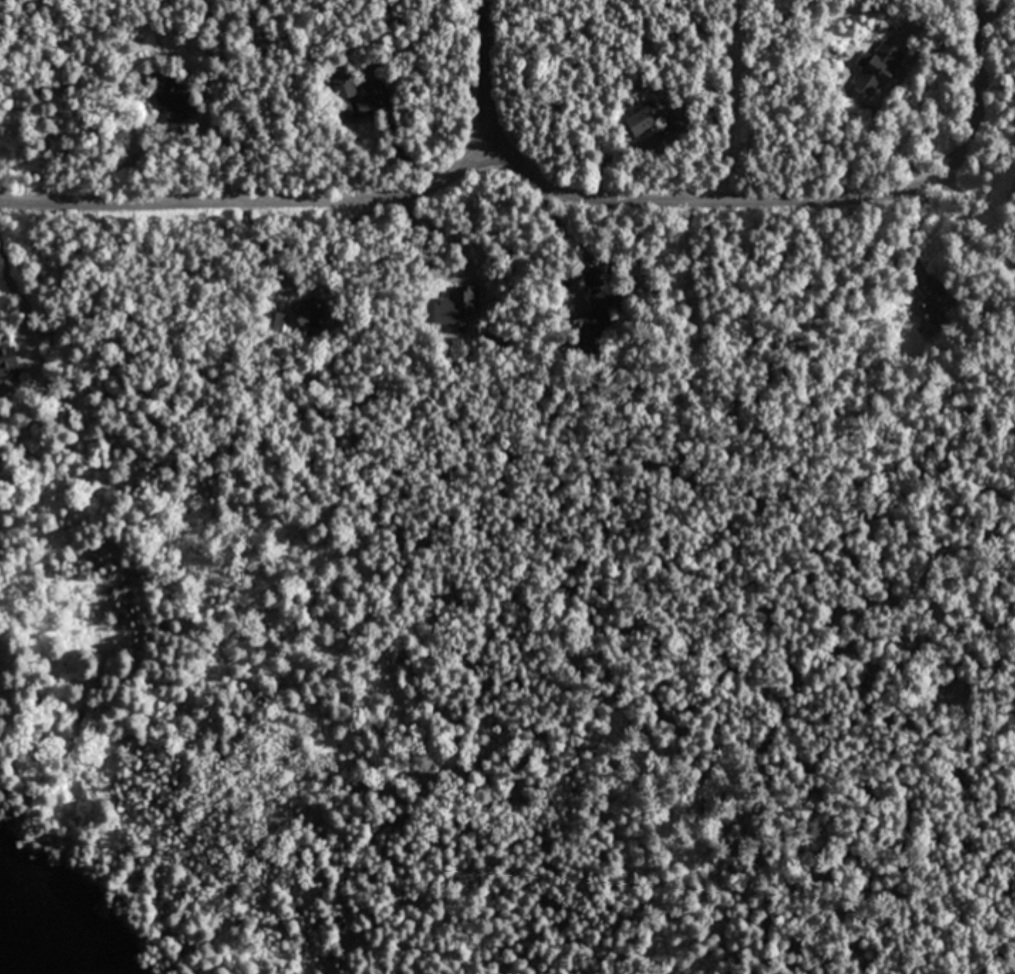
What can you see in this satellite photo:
building: (877, 69)
road: (489, 72)
building: (367, 99)
building: (642, 117)
road: (807, 200)
road: (255, 205)
building: (606, 298)
building: (933, 298)
road: (21, 299)
building: (309, 312)
building: (277, 320)
building: (7, 361)

